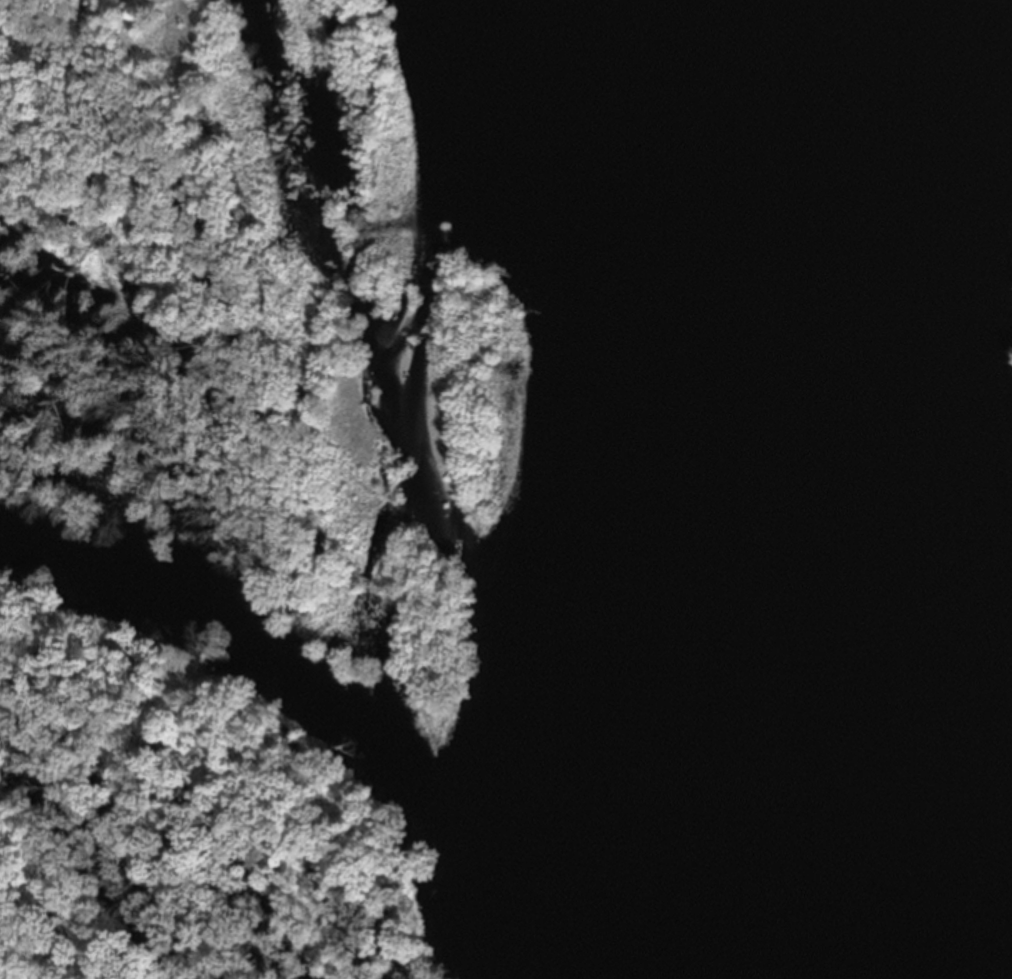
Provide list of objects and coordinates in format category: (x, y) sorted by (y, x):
river: (812, 431)

